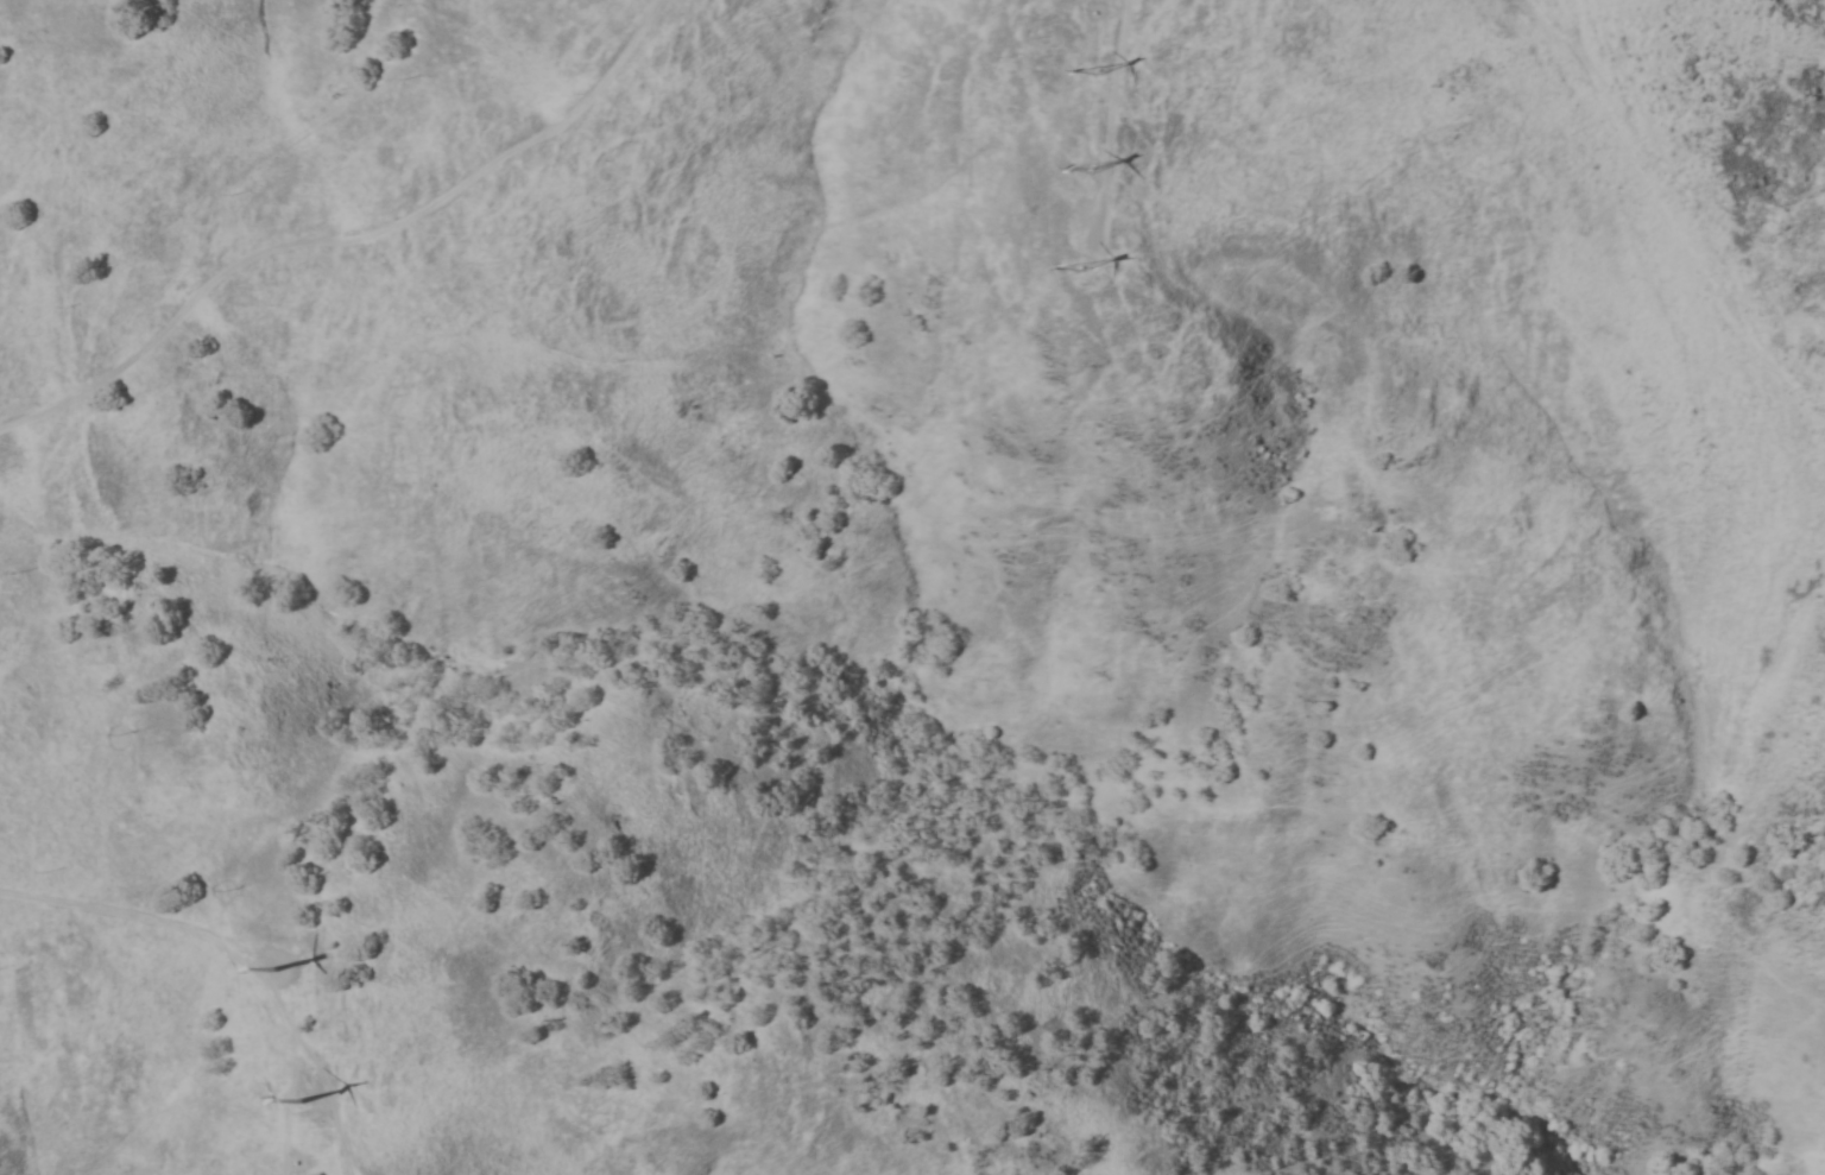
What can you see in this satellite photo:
wind turbine: (1097, 71)
road: (1109, 120)
wind turbine: (1088, 169)
road: (345, 239)
wind turbine: (1074, 265)
road: (166, 923)
wind turbine: (285, 968)
road: (328, 1098)
wind turbine: (299, 1099)
road: (286, 1101)

